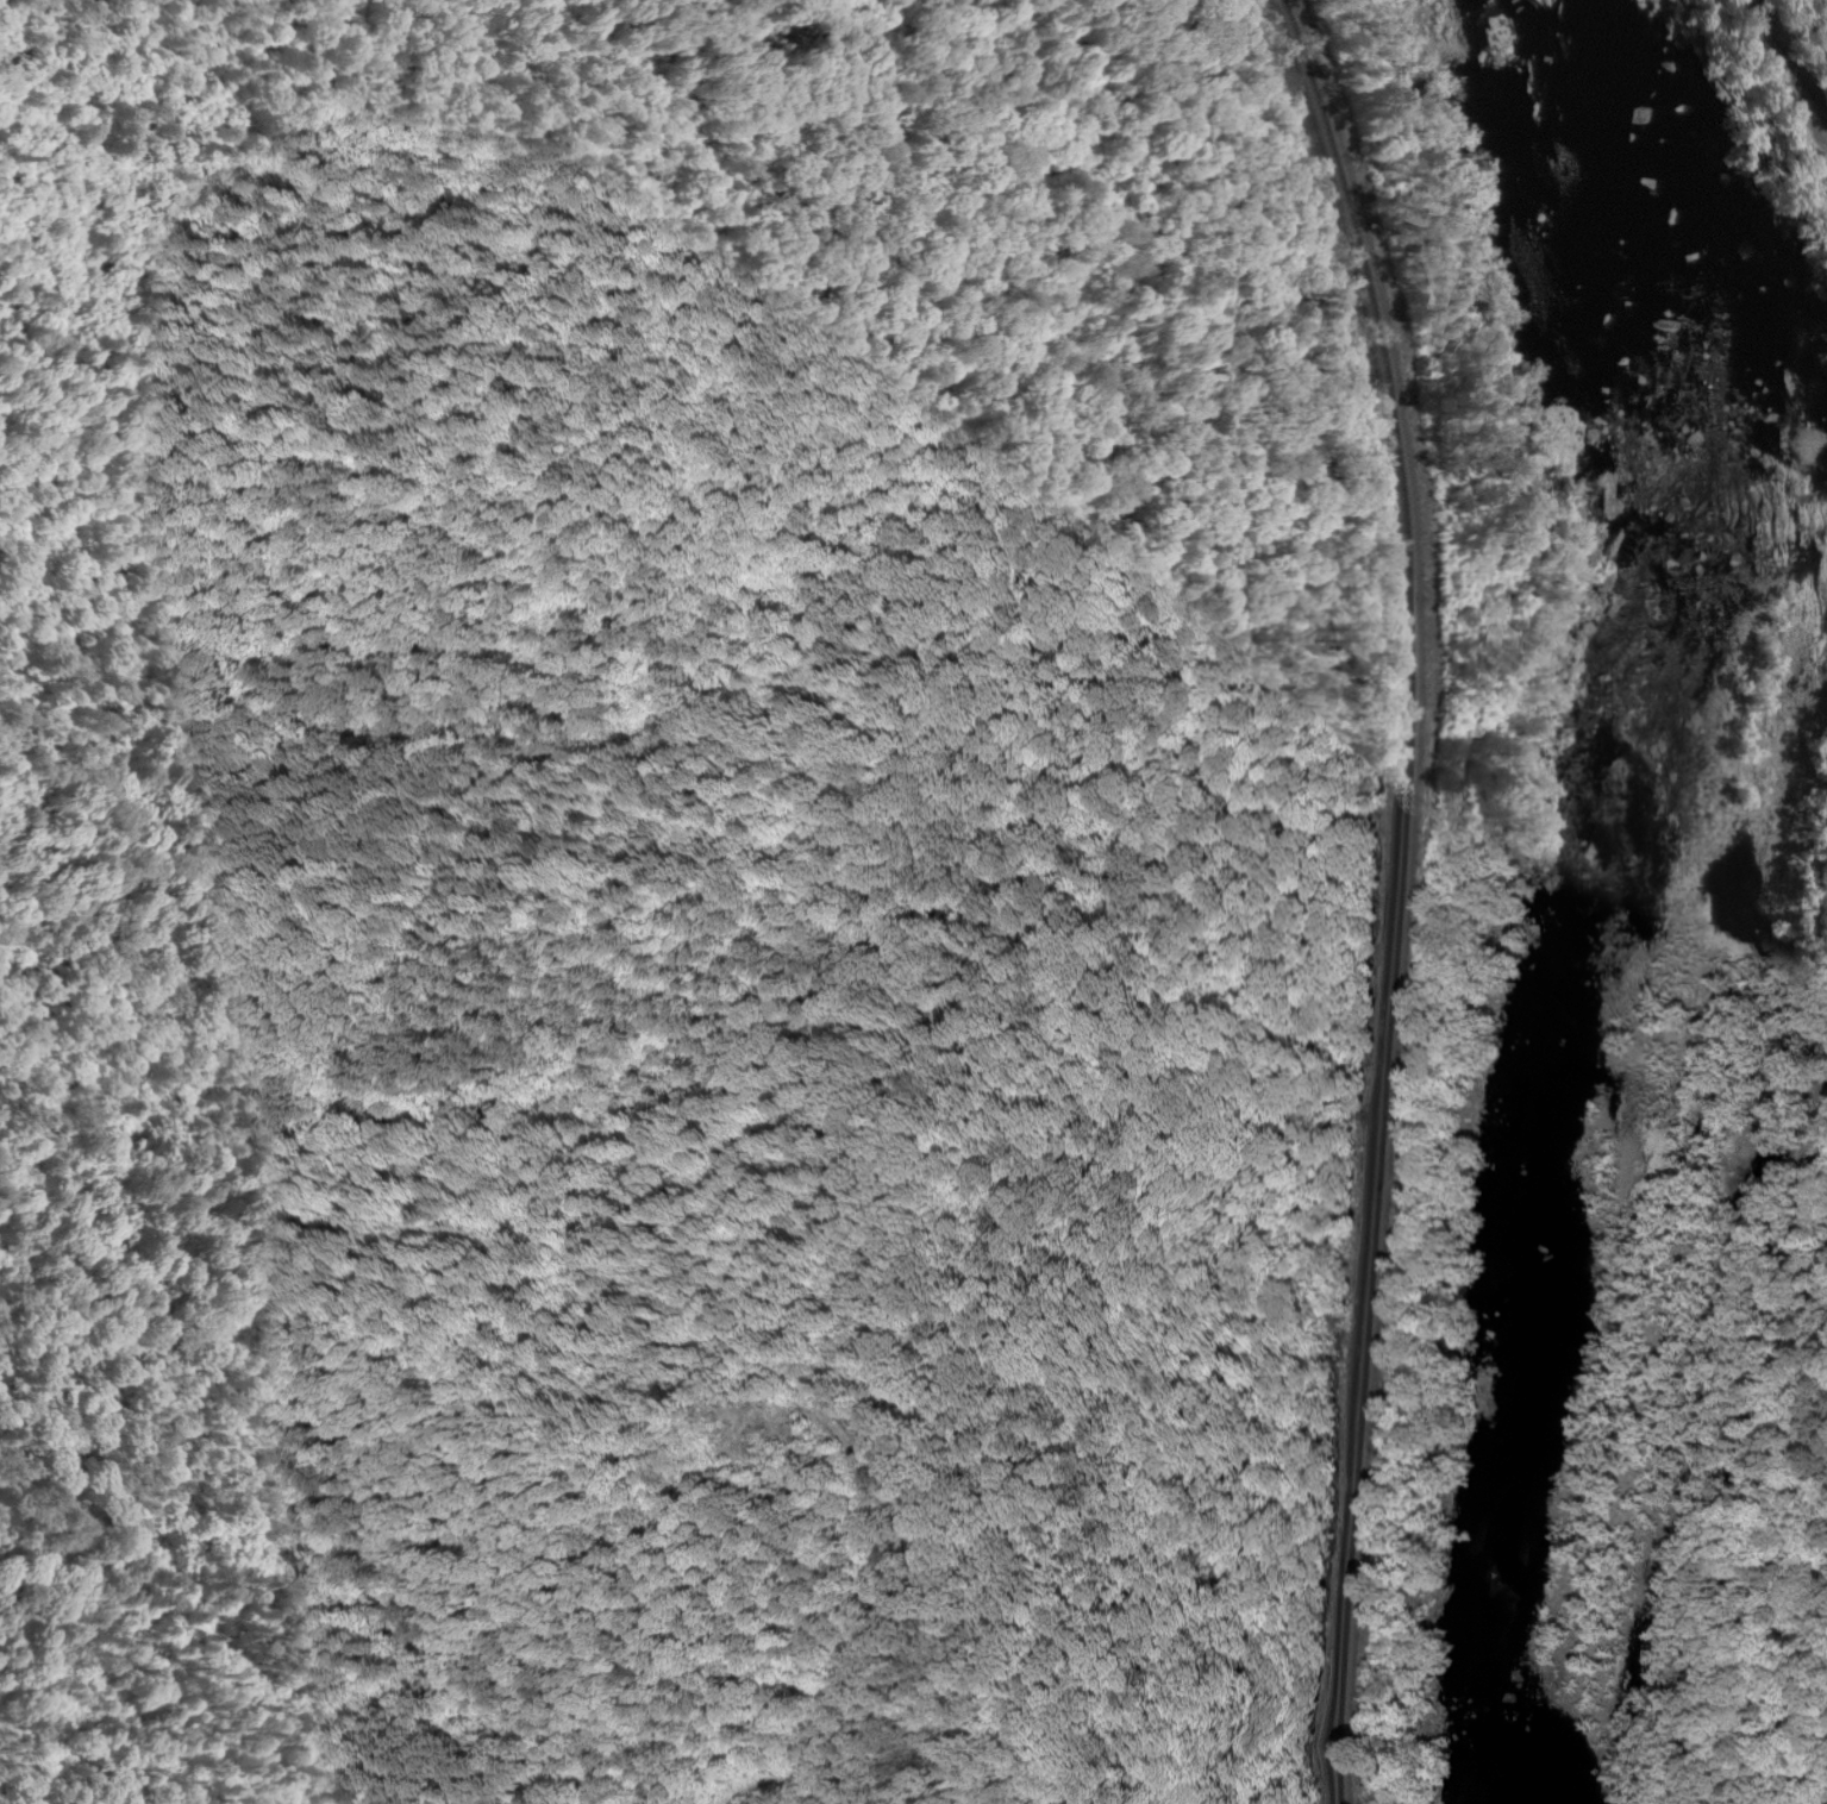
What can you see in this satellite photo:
road: (1785, 61)
road: (409, 414)
railway: (1406, 892)
railway: (1418, 892)
river: (1602, 896)
road: (245, 1221)

